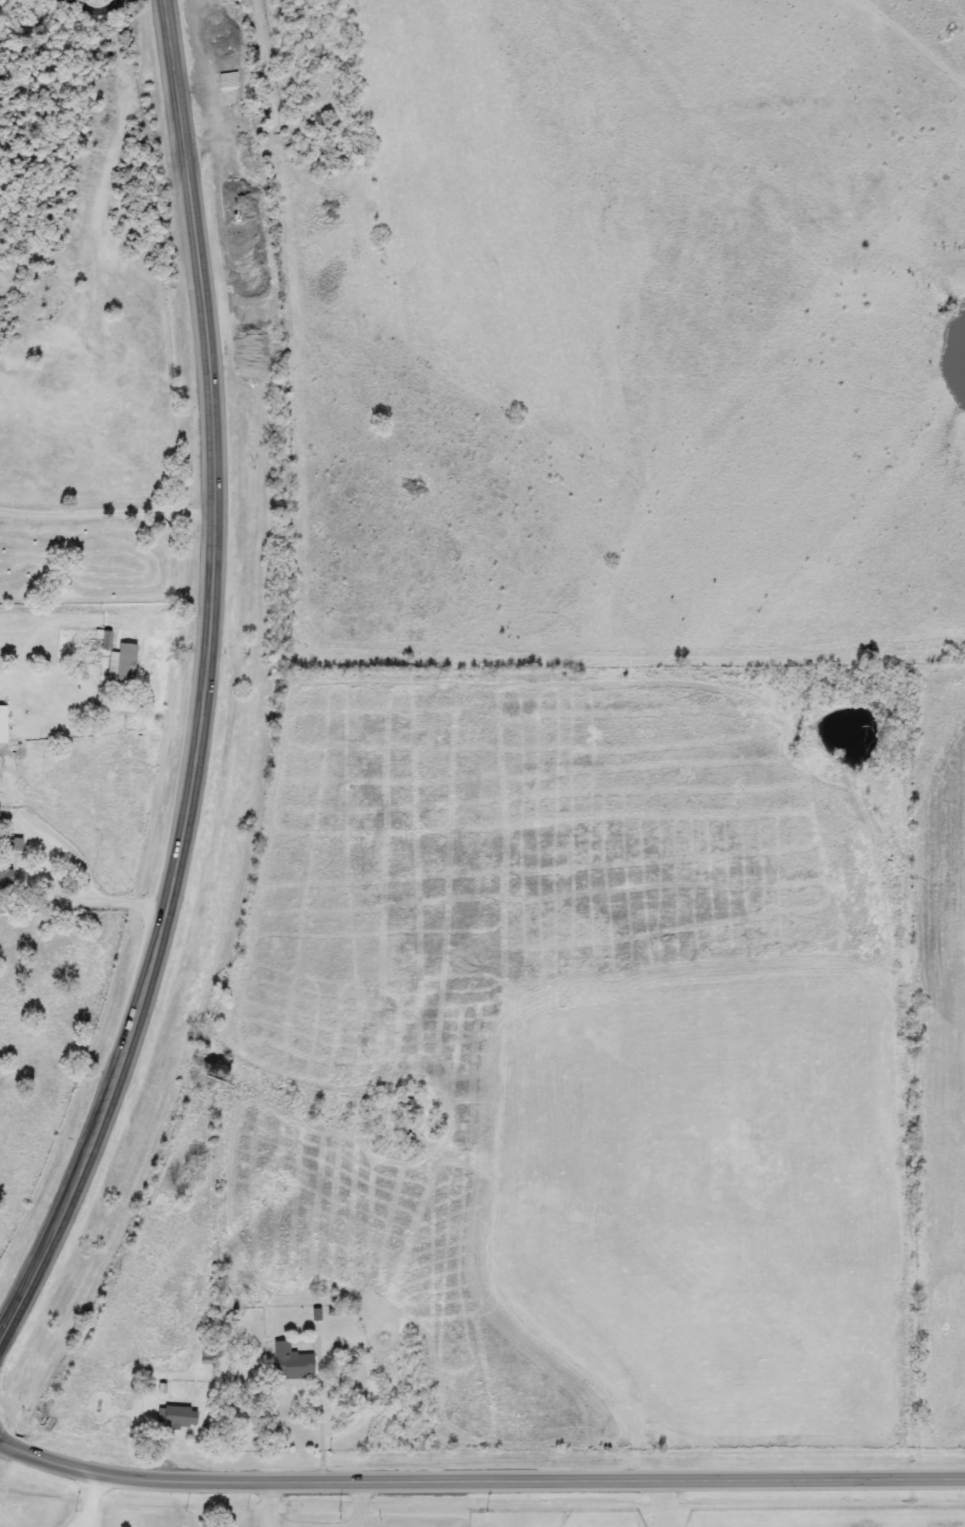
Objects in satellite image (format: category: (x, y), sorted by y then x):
road: (97, 15)
road: (230, 85)
road: (106, 509)
building: (118, 656)
road: (203, 682)
building: (2, 725)
railway: (269, 741)
building: (4, 875)
road: (83, 899)
building: (207, 1079)
building: (404, 1107)
road: (323, 1346)
building: (290, 1362)
building: (176, 1417)
road: (323, 1459)
road: (479, 1477)
road: (91, 1500)
road: (269, 1502)

